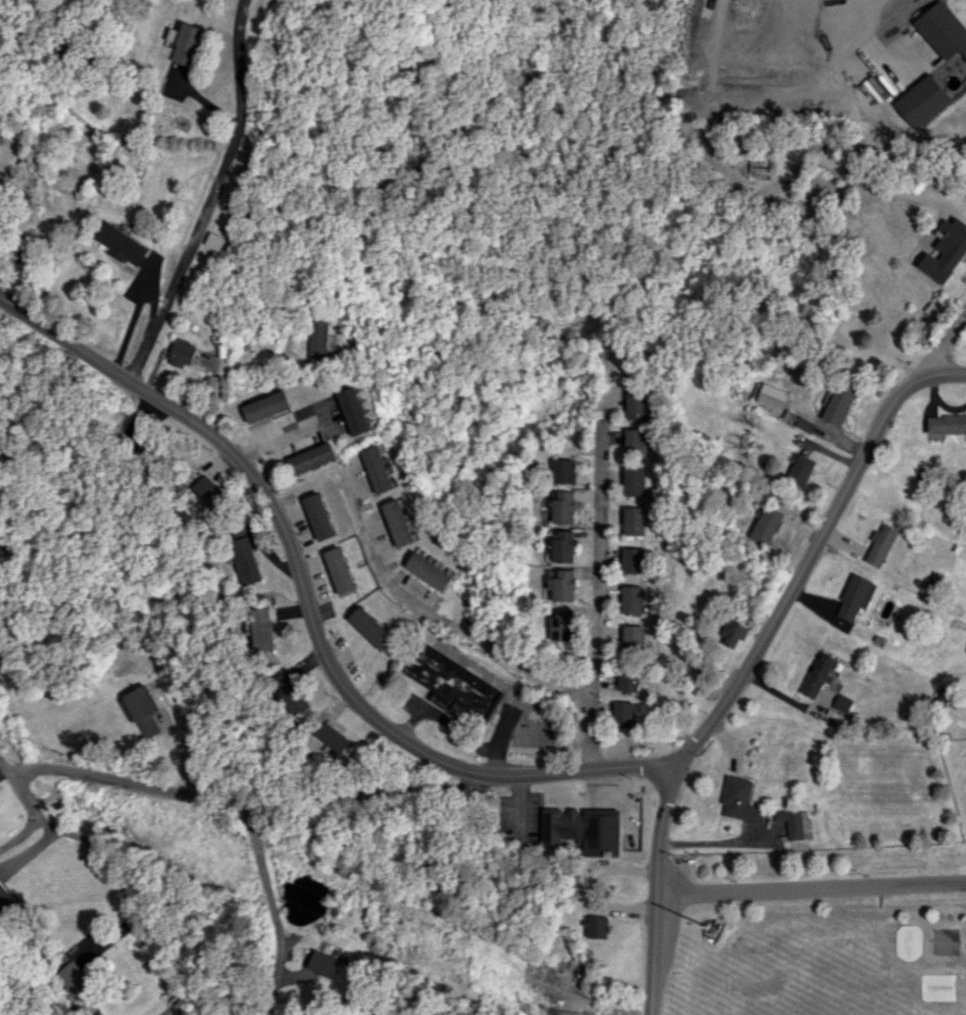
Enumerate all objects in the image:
road: (840, 24)
building: (942, 30)
building: (183, 43)
building: (759, 82)
building: (922, 101)
road: (15, 130)
road: (211, 197)
building: (216, 241)
building: (122, 244)
building: (945, 250)
building: (321, 334)
road: (944, 342)
building: (183, 353)
building: (771, 396)
building: (838, 403)
building: (634, 405)
building: (267, 406)
building: (355, 411)
building: (946, 423)
building: (803, 424)
road: (277, 439)
building: (634, 442)
building: (313, 458)
building: (377, 469)
building: (800, 470)
building: (562, 471)
building: (633, 481)
building: (562, 506)
building: (320, 516)
building: (632, 521)
building: (398, 522)
building: (765, 525)
building: (880, 544)
building: (562, 547)
building: (242, 556)
building: (631, 560)
building: (340, 570)
road: (599, 570)
building: (429, 571)
building: (560, 584)
building: (855, 596)
building: (630, 599)
road: (439, 618)
building: (561, 624)
building: (371, 627)
building: (261, 629)
building: (732, 632)
building: (631, 637)
building: (817, 674)
building: (627, 680)
building: (450, 682)
building: (291, 692)
building: (140, 710)
building: (621, 714)
building: (331, 737)
road: (477, 771)
road: (235, 798)
building: (738, 799)
building: (795, 823)
building: (581, 829)
road: (21, 835)
road: (112, 864)
road: (810, 886)
road: (654, 887)
building: (6, 897)
road: (274, 907)
building: (596, 927)
building: (320, 963)
building: (74, 978)

